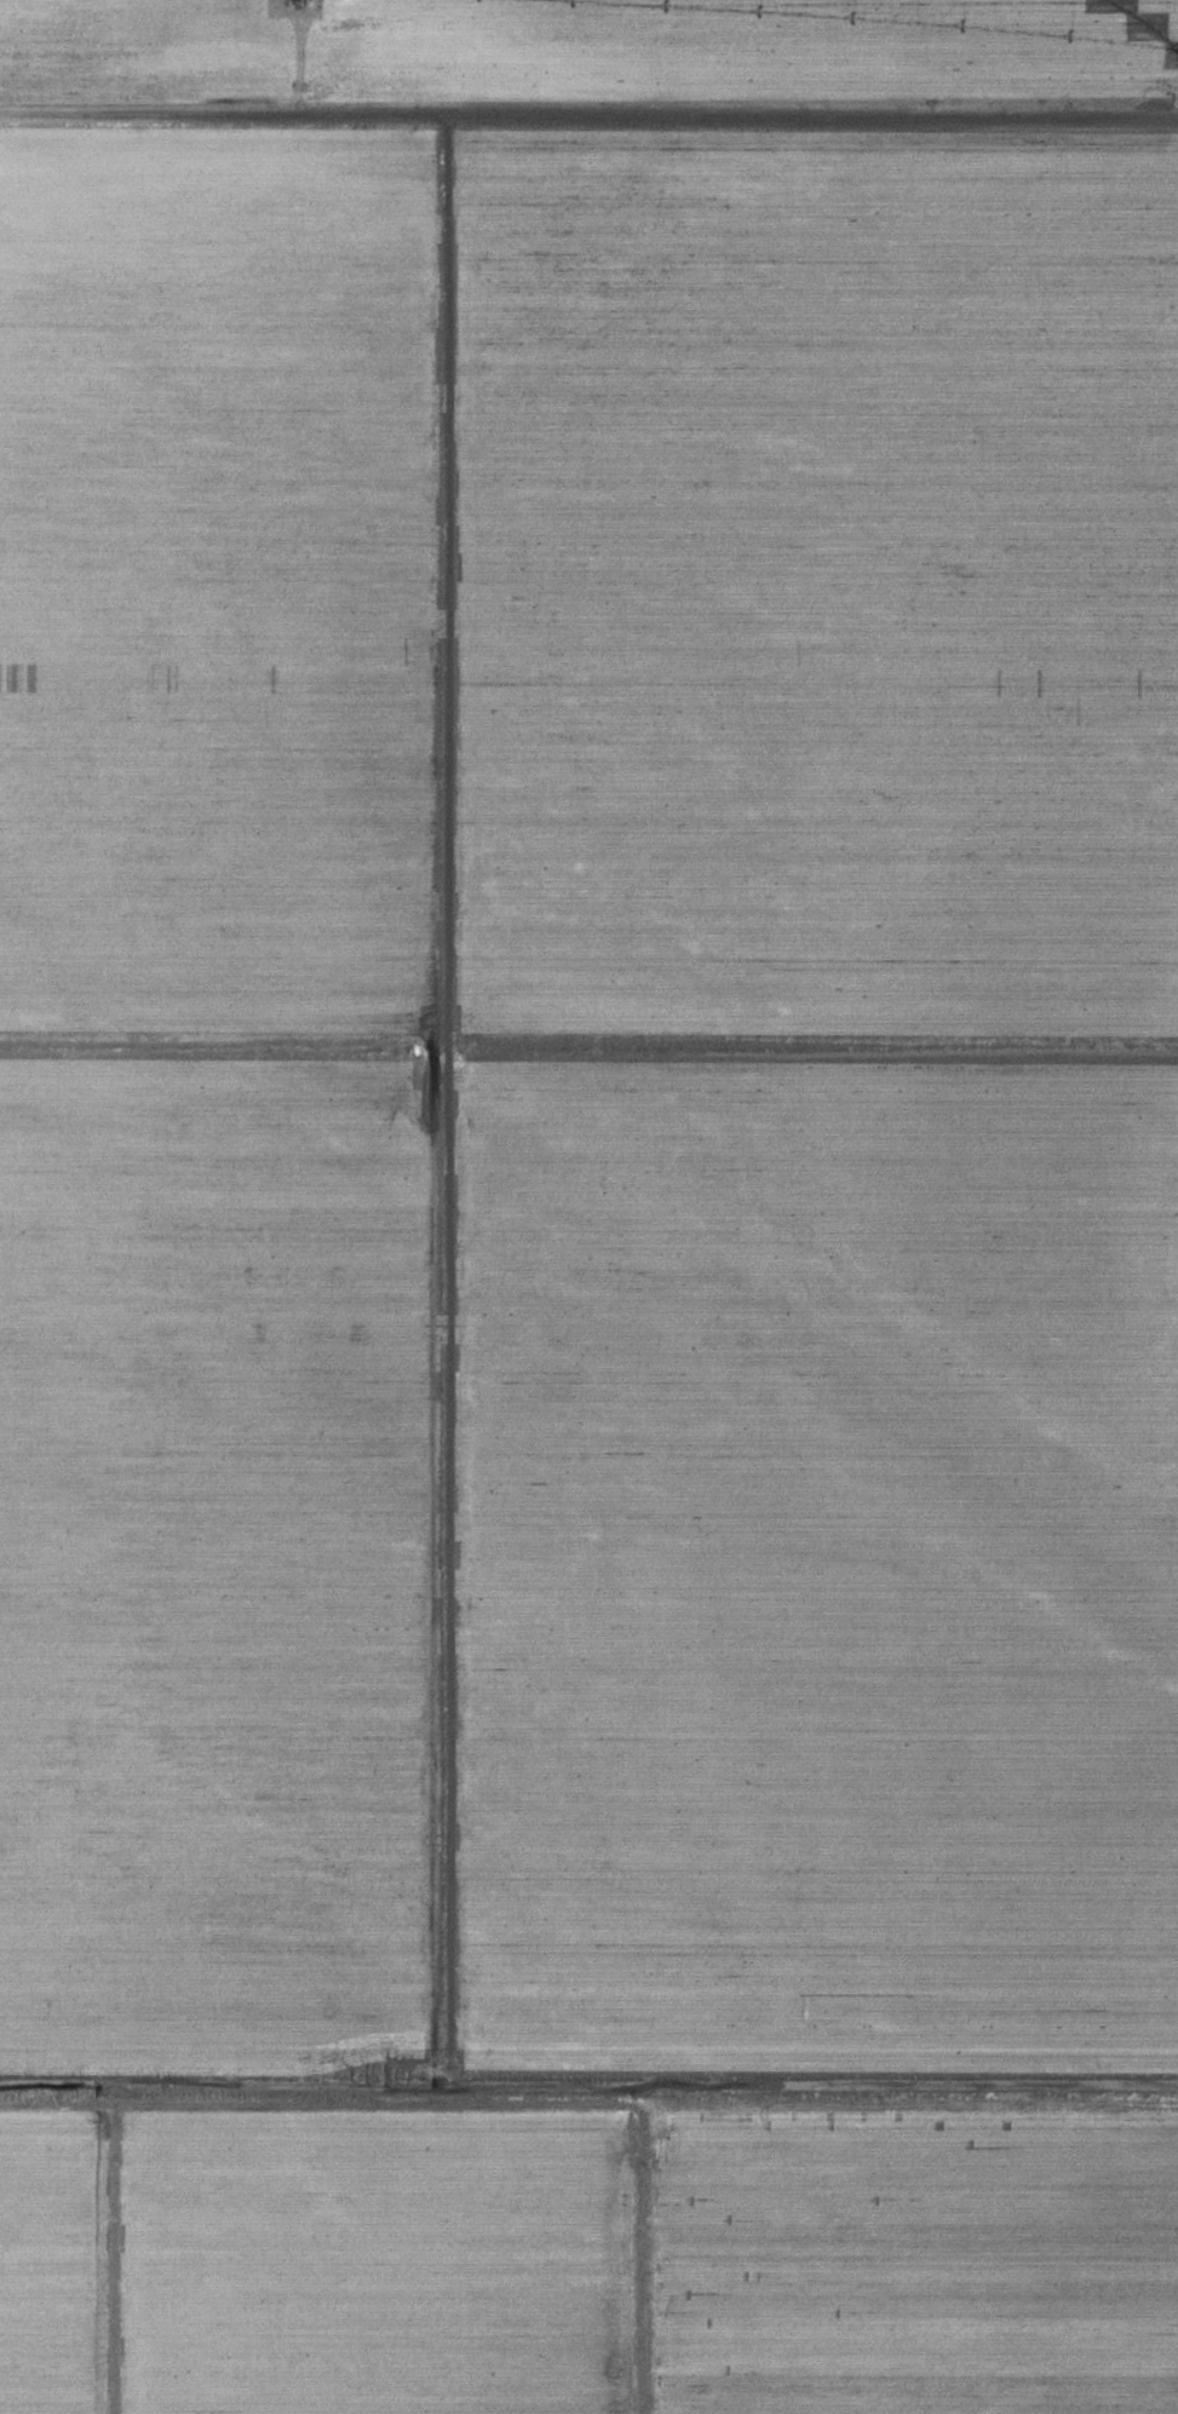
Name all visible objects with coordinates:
road: (588, 116)

